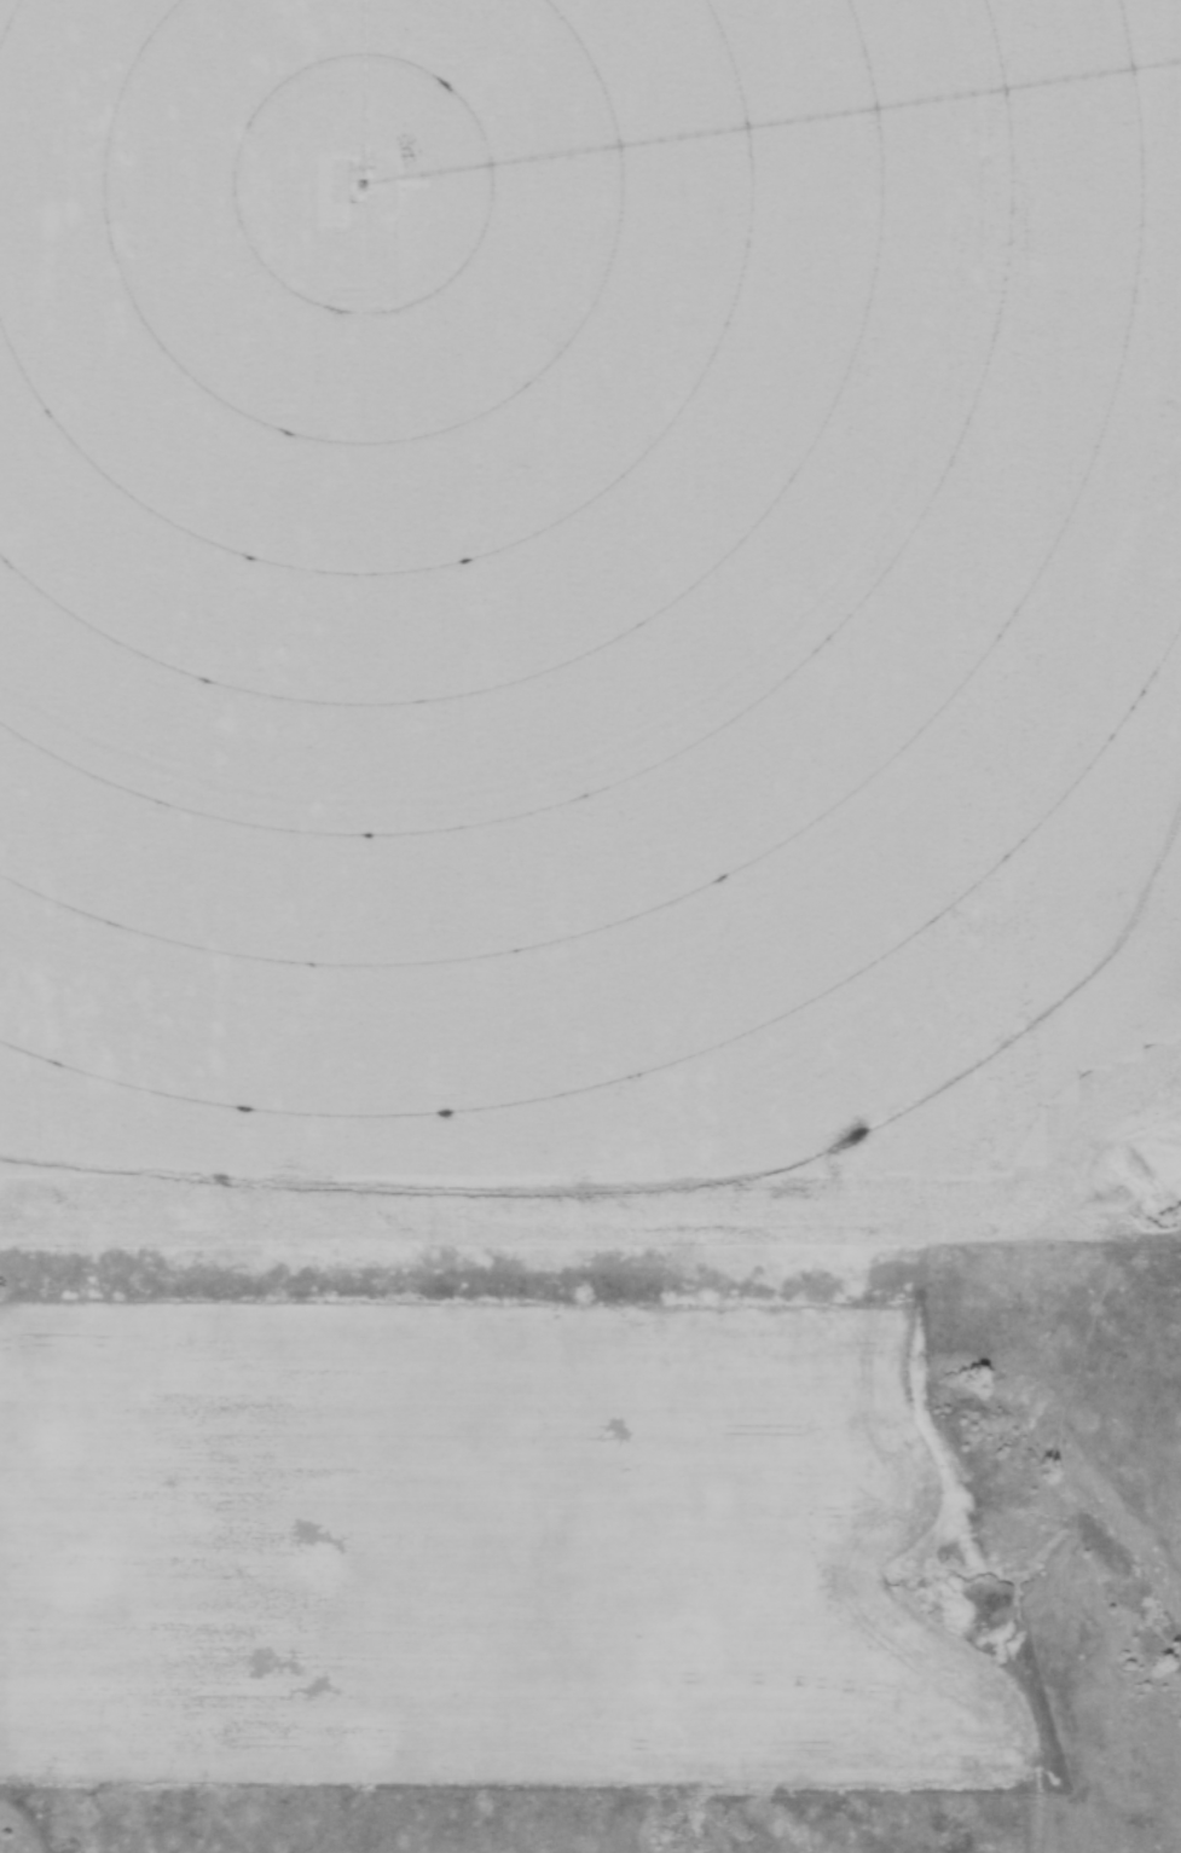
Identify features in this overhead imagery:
crop: (477, 1551)

